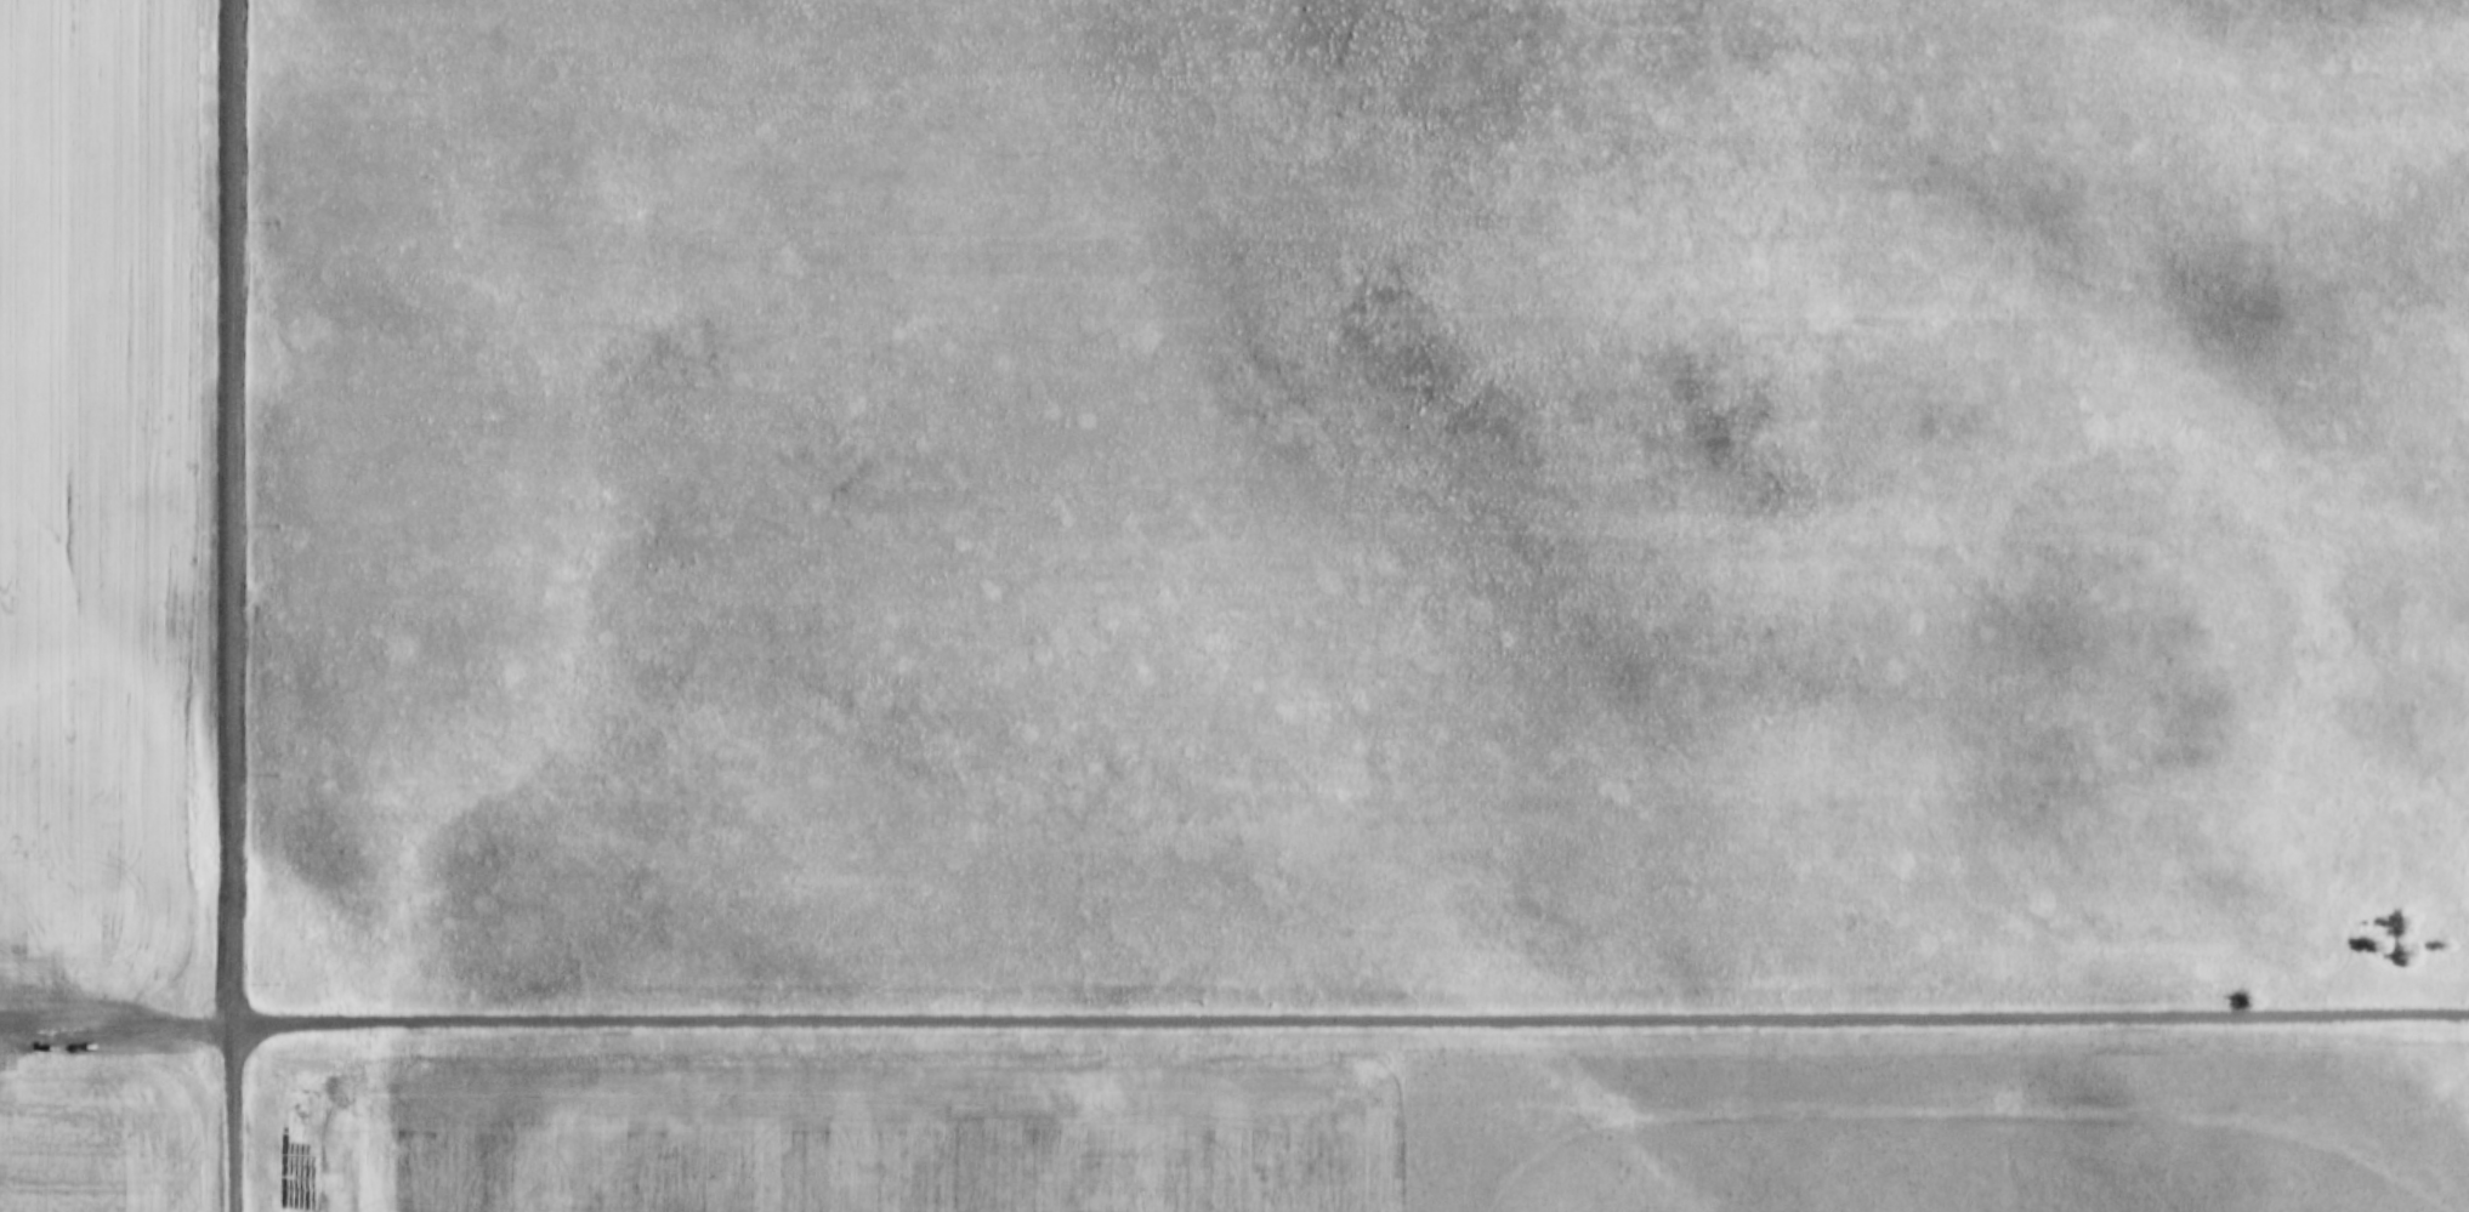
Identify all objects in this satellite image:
road: (231, 605)
road: (114, 1017)
road: (1347, 1019)
road: (1964, 1106)

